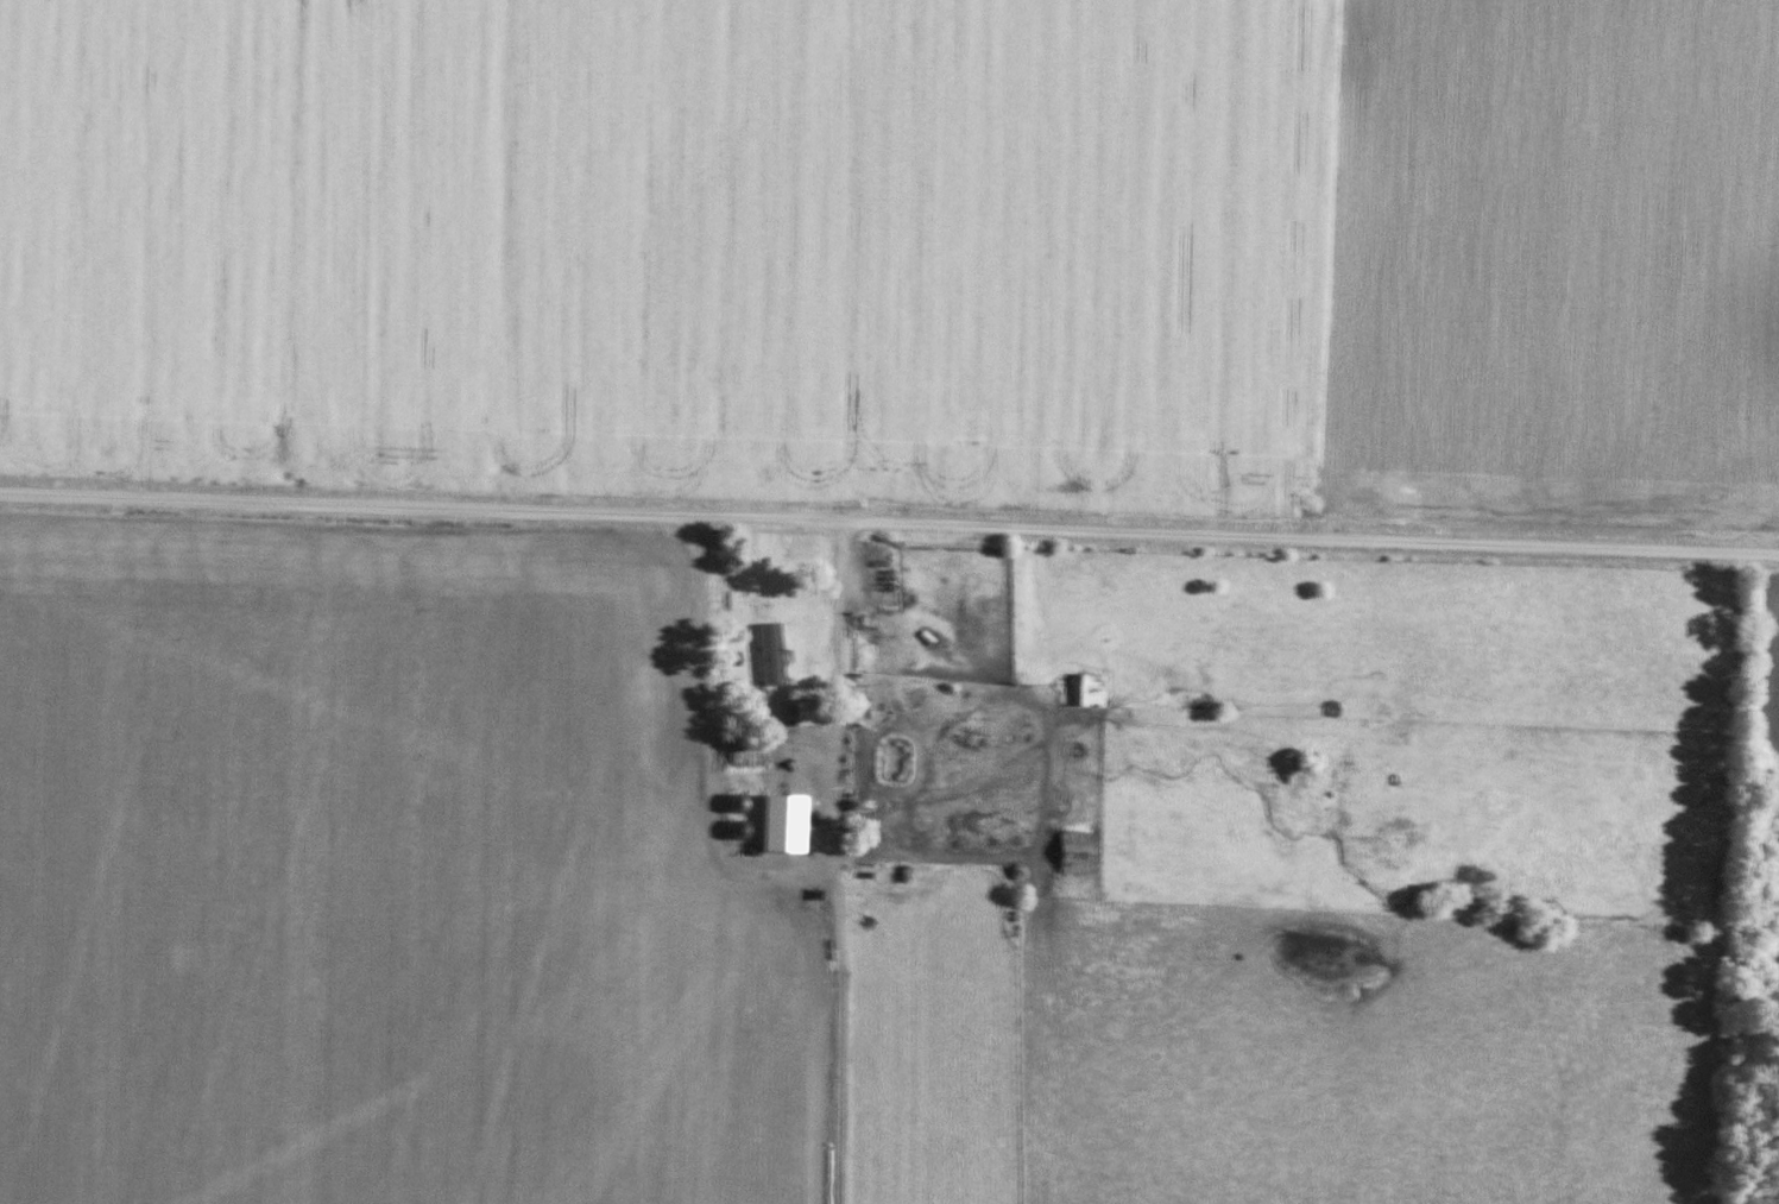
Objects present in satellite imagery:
road: (889, 521)
building: (788, 668)
road: (964, 686)
building: (1084, 688)
building: (810, 712)
building: (749, 754)
building: (744, 830)
road: (713, 850)
building: (1079, 852)

